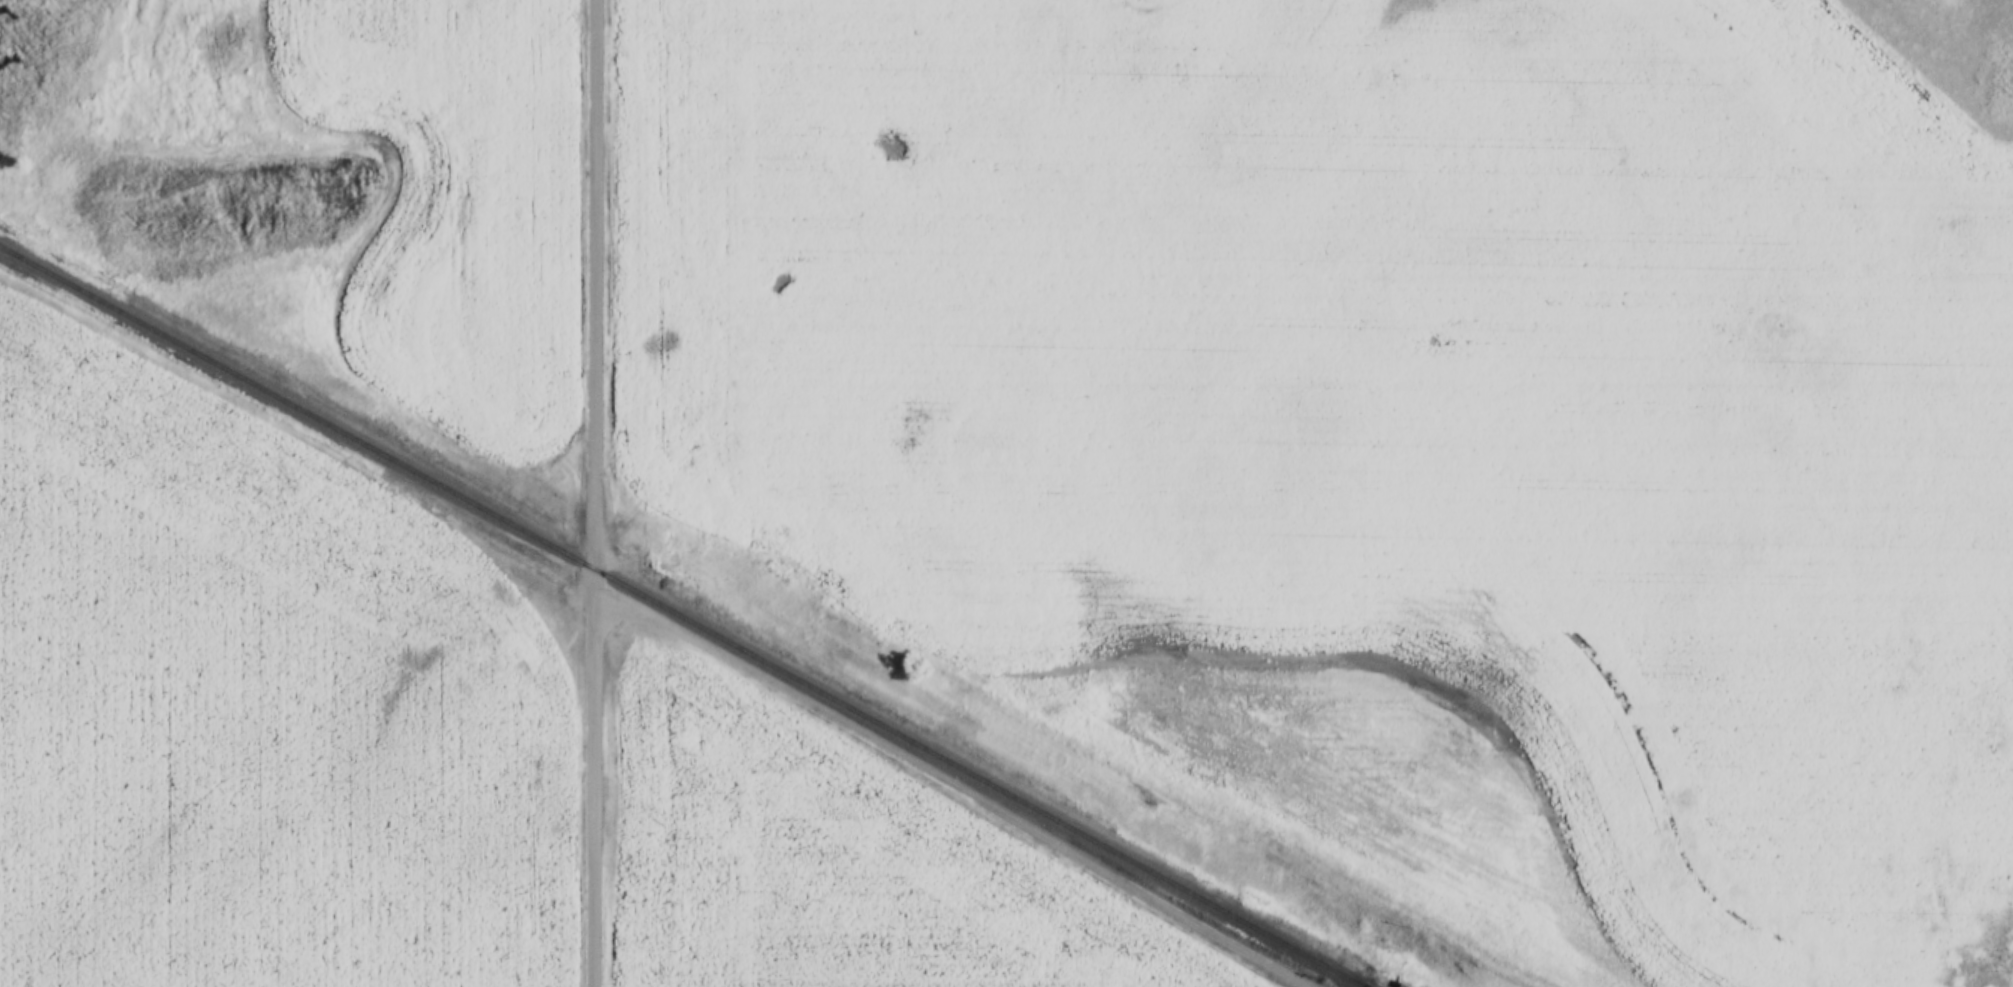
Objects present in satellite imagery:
road: (593, 493)
railway: (681, 614)
road: (958, 787)

